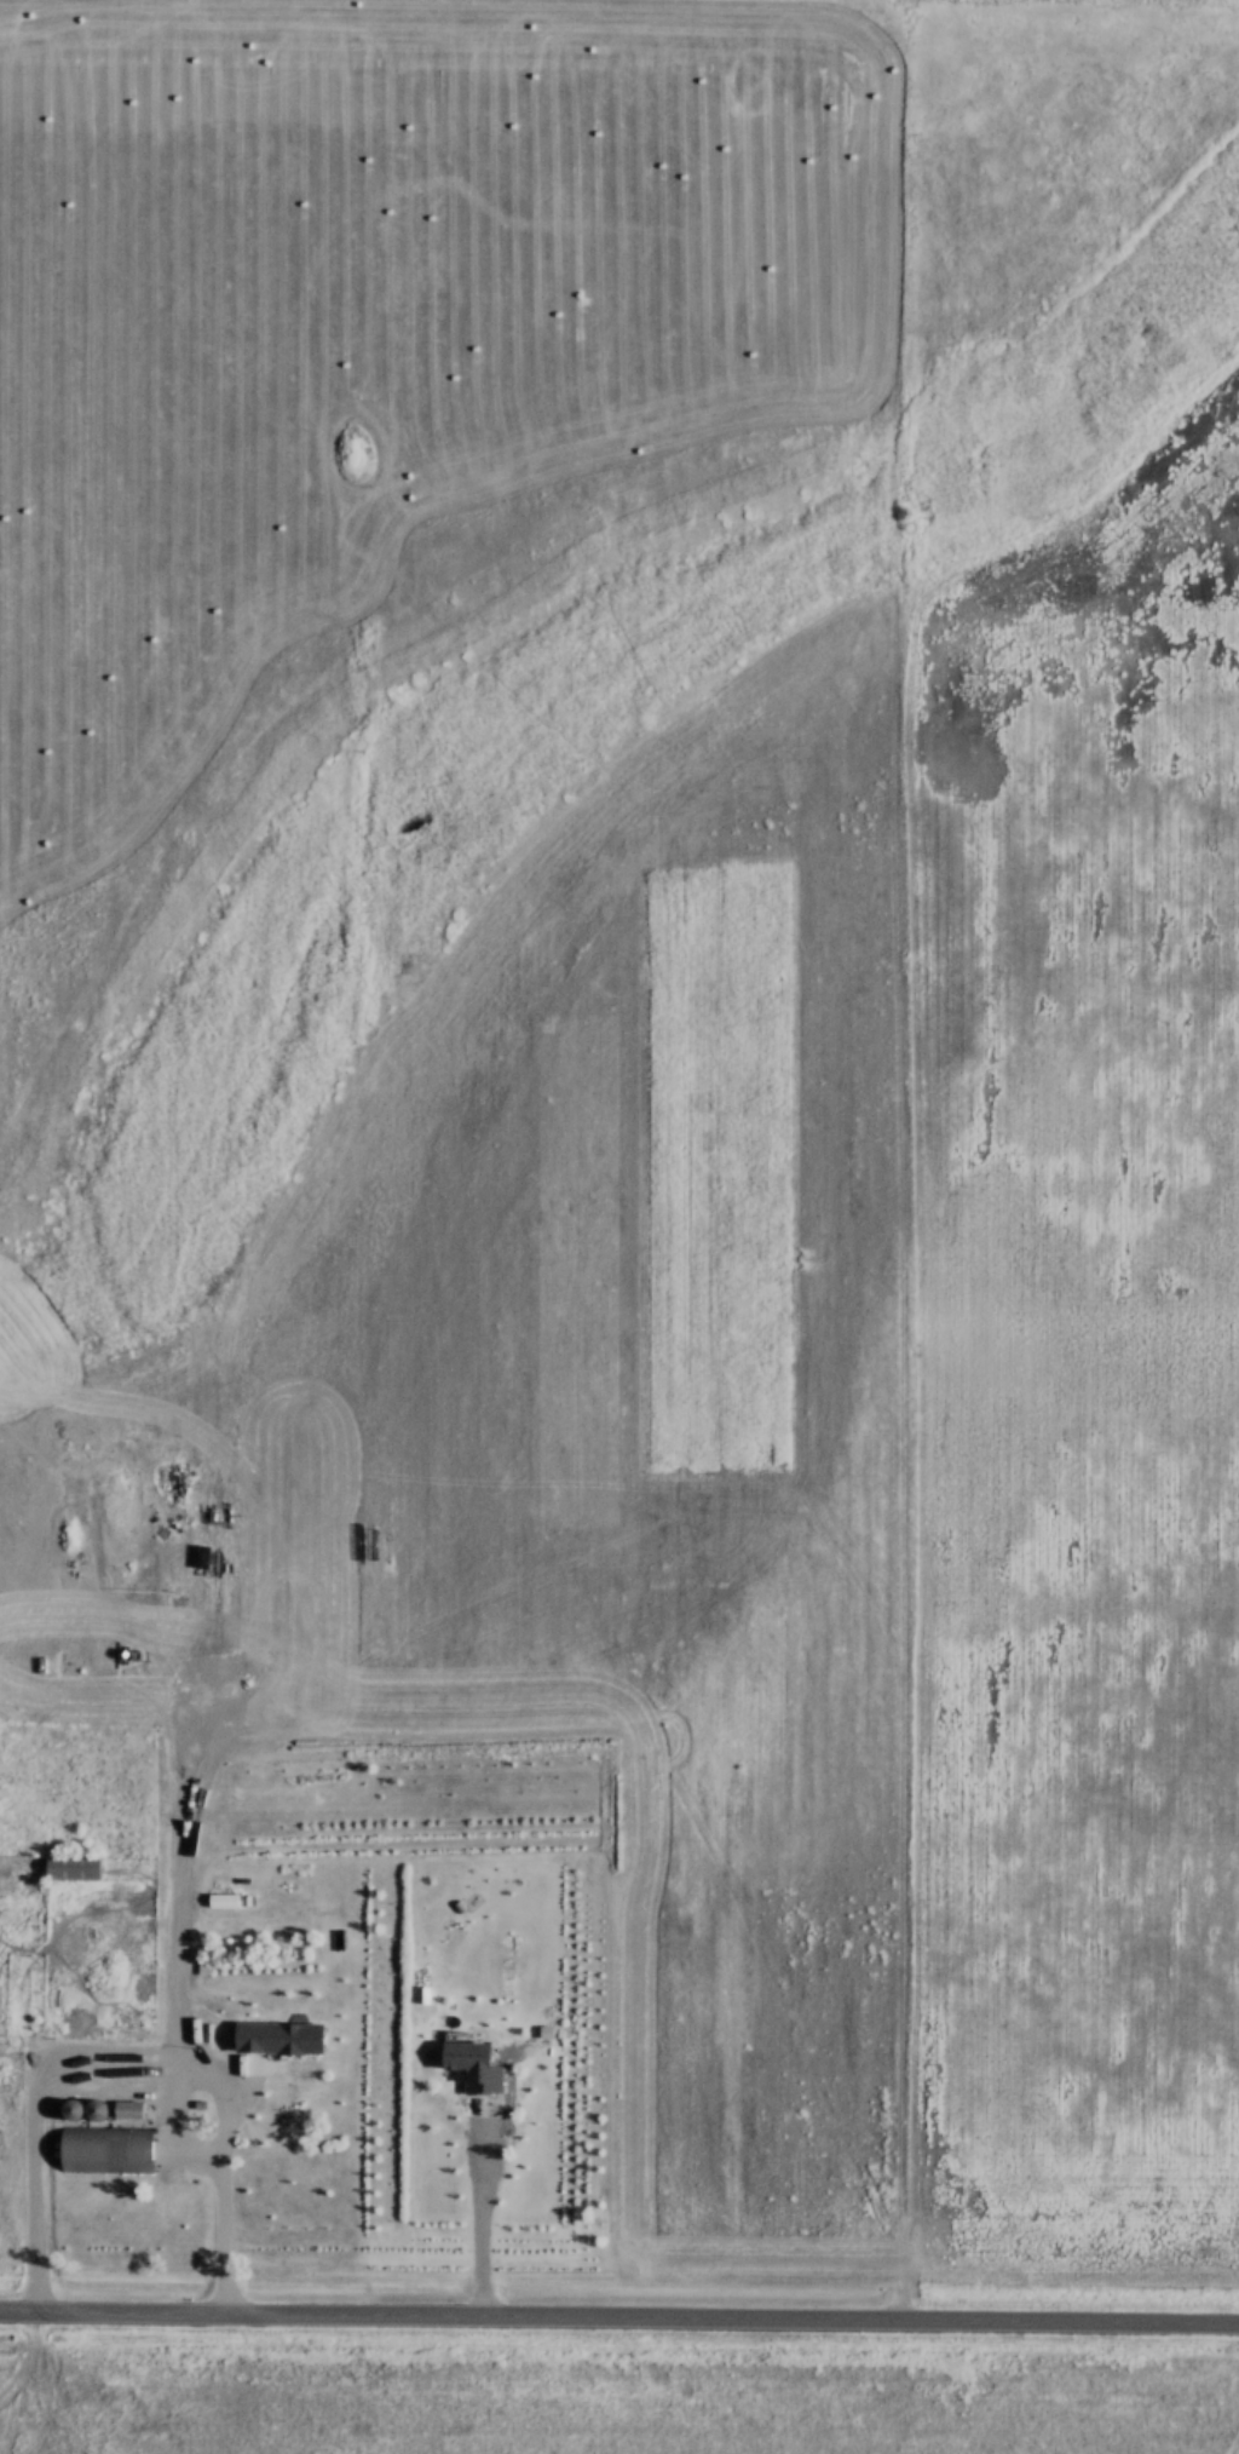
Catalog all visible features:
building: (75, 1866)
building: (226, 1993)
building: (221, 2027)
building: (283, 2090)
building: (108, 2149)
road: (619, 2322)

